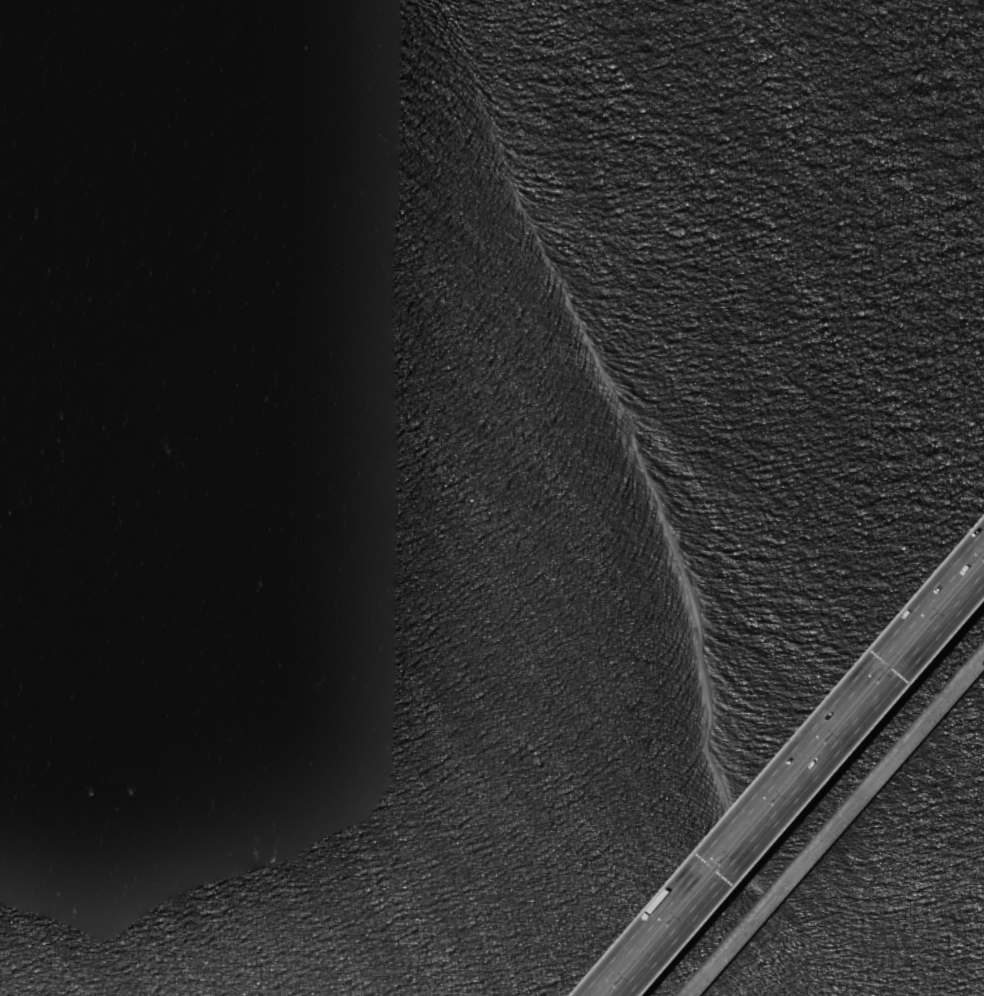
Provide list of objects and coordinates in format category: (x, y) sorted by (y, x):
road: (786, 768)
road: (804, 789)
pier: (833, 823)
road: (833, 823)

